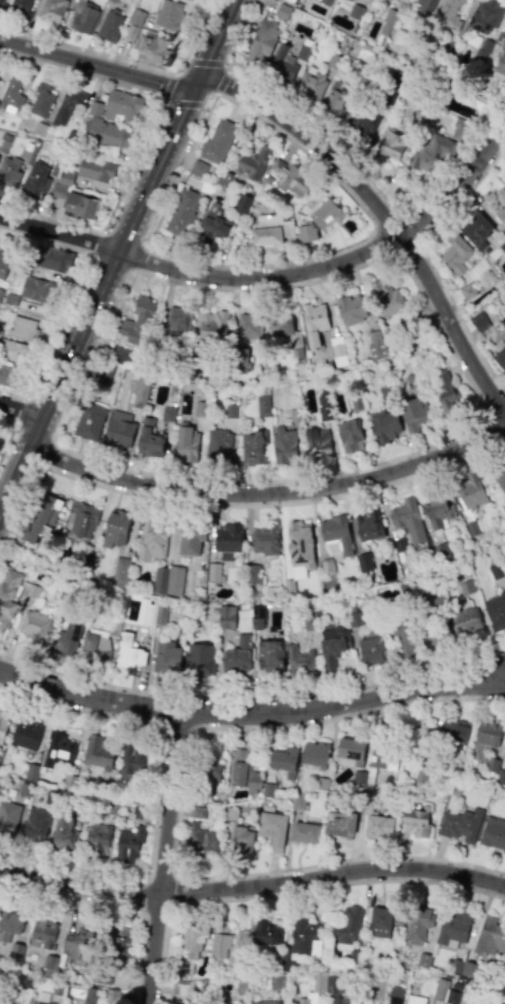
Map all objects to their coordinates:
building: (293, 0)
building: (347, 0)
building: (326, 1)
building: (1, 3)
building: (23, 6)
building: (425, 7)
building: (355, 9)
building: (52, 10)
building: (283, 10)
building: (169, 14)
building: (485, 14)
building: (447, 15)
building: (135, 17)
building: (84, 18)
building: (388, 18)
building: (110, 26)
road: (193, 29)
road: (242, 34)
building: (503, 39)
building: (261, 40)
building: (483, 48)
building: (152, 50)
building: (303, 50)
building: (334, 59)
road: (207, 61)
building: (281, 62)
road: (177, 64)
road: (98, 65)
building: (500, 66)
road: (222, 80)
road: (203, 81)
traffic signals: (197, 82)
road: (168, 85)
building: (308, 87)
building: (11, 95)
building: (42, 100)
road: (160, 100)
road: (187, 103)
building: (67, 106)
building: (123, 106)
building: (336, 106)
building: (95, 108)
building: (460, 109)
building: (416, 116)
building: (364, 118)
building: (459, 129)
building: (108, 133)
building: (217, 140)
building: (388, 142)
road: (78, 148)
building: (432, 150)
building: (255, 161)
road: (131, 166)
building: (198, 167)
building: (95, 170)
building: (9, 172)
building: (286, 172)
building: (226, 177)
building: (36, 180)
road: (458, 183)
building: (207, 186)
road: (375, 186)
building: (74, 198)
building: (243, 202)
building: (500, 202)
building: (181, 210)
building: (326, 211)
road: (386, 218)
building: (214, 222)
road: (131, 223)
building: (271, 227)
building: (476, 230)
building: (307, 231)
road: (59, 233)
road: (97, 243)
building: (502, 247)
building: (456, 254)
building: (53, 259)
road: (140, 259)
road: (426, 259)
road: (283, 262)
building: (4, 265)
road: (259, 277)
building: (36, 289)
building: (467, 290)
building: (387, 299)
building: (350, 309)
road: (42, 315)
building: (178, 319)
building: (478, 321)
building: (313, 323)
building: (136, 324)
building: (249, 324)
road: (61, 326)
building: (213, 327)
building: (22, 328)
building: (284, 330)
building: (337, 350)
building: (13, 351)
building: (119, 355)
building: (500, 358)
building: (242, 362)
building: (106, 369)
building: (6, 374)
building: (411, 380)
building: (140, 389)
building: (446, 394)
building: (262, 406)
road: (20, 409)
road: (21, 409)
building: (230, 410)
building: (413, 412)
building: (166, 415)
building: (295, 415)
building: (89, 421)
building: (384, 426)
building: (118, 429)
building: (349, 435)
road: (7, 439)
building: (149, 439)
building: (317, 443)
building: (184, 445)
building: (218, 445)
building: (284, 445)
building: (254, 446)
road: (401, 455)
road: (49, 457)
road: (14, 478)
building: (501, 480)
road: (269, 493)
building: (469, 501)
road: (278, 505)
building: (435, 511)
road: (22, 516)
building: (40, 518)
building: (81, 519)
building: (408, 520)
building: (369, 525)
building: (115, 527)
building: (335, 535)
building: (191, 538)
building: (150, 540)
building: (228, 541)
building: (299, 543)
building: (399, 544)
building: (261, 546)
building: (82, 561)
building: (363, 562)
building: (326, 566)
building: (496, 570)
building: (120, 572)
building: (213, 572)
building: (171, 580)
building: (288, 587)
building: (465, 587)
building: (404, 589)
building: (32, 591)
building: (436, 596)
building: (8, 597)
building: (495, 610)
building: (160, 612)
building: (225, 616)
building: (257, 617)
building: (465, 622)
building: (35, 625)
building: (434, 632)
building: (68, 636)
building: (334, 642)
building: (403, 643)
building: (95, 646)
building: (370, 647)
building: (128, 652)
building: (236, 655)
building: (269, 656)
building: (166, 657)
building: (299, 659)
building: (198, 660)
road: (452, 679)
road: (253, 700)
road: (251, 713)
building: (3, 724)
building: (25, 734)
building: (452, 734)
building: (485, 738)
building: (423, 740)
building: (58, 749)
building: (385, 751)
building: (348, 752)
building: (98, 753)
building: (315, 753)
building: (132, 761)
building: (284, 761)
building: (492, 764)
building: (206, 768)
building: (31, 772)
building: (244, 773)
building: (500, 776)
building: (358, 777)
building: (420, 777)
building: (69, 783)
building: (319, 783)
building: (24, 789)
building: (267, 789)
road: (155, 794)
building: (51, 798)
building: (297, 802)
building: (112, 806)
building: (138, 811)
road: (178, 811)
building: (197, 812)
building: (82, 815)
building: (8, 817)
building: (417, 821)
building: (377, 825)
building: (460, 825)
building: (34, 826)
building: (341, 826)
building: (273, 827)
building: (239, 832)
building: (63, 833)
building: (305, 833)
building: (493, 833)
building: (200, 839)
building: (96, 841)
building: (128, 844)
road: (162, 857)
road: (252, 885)
road: (289, 893)
road: (116, 904)
building: (383, 920)
building: (418, 921)
building: (8, 924)
building: (347, 925)
building: (454, 926)
building: (265, 931)
building: (43, 932)
building: (489, 936)
building: (300, 940)
building: (120, 942)
building: (76, 943)
building: (193, 944)
building: (224, 948)
building: (15, 955)
building: (395, 955)
building: (355, 956)
building: (423, 959)
building: (504, 960)
building: (504, 962)
building: (405, 964)
building: (455, 964)
building: (49, 965)
building: (469, 968)
building: (100, 971)
building: (405, 972)
building: (415, 973)
building: (447, 975)
building: (461, 979)
building: (26, 980)
building: (277, 980)
building: (319, 981)
building: (205, 984)
building: (456, 984)
building: (243, 985)
building: (184, 987)
building: (57, 988)
building: (332, 988)
building: (440, 988)
building: (396, 994)
building: (91, 995)
building: (452, 995)
building: (111, 996)
building: (41, 999)
building: (414, 999)
building: (302, 1000)
building: (178, 1001)
building: (193, 1002)
building: (265, 1002)

